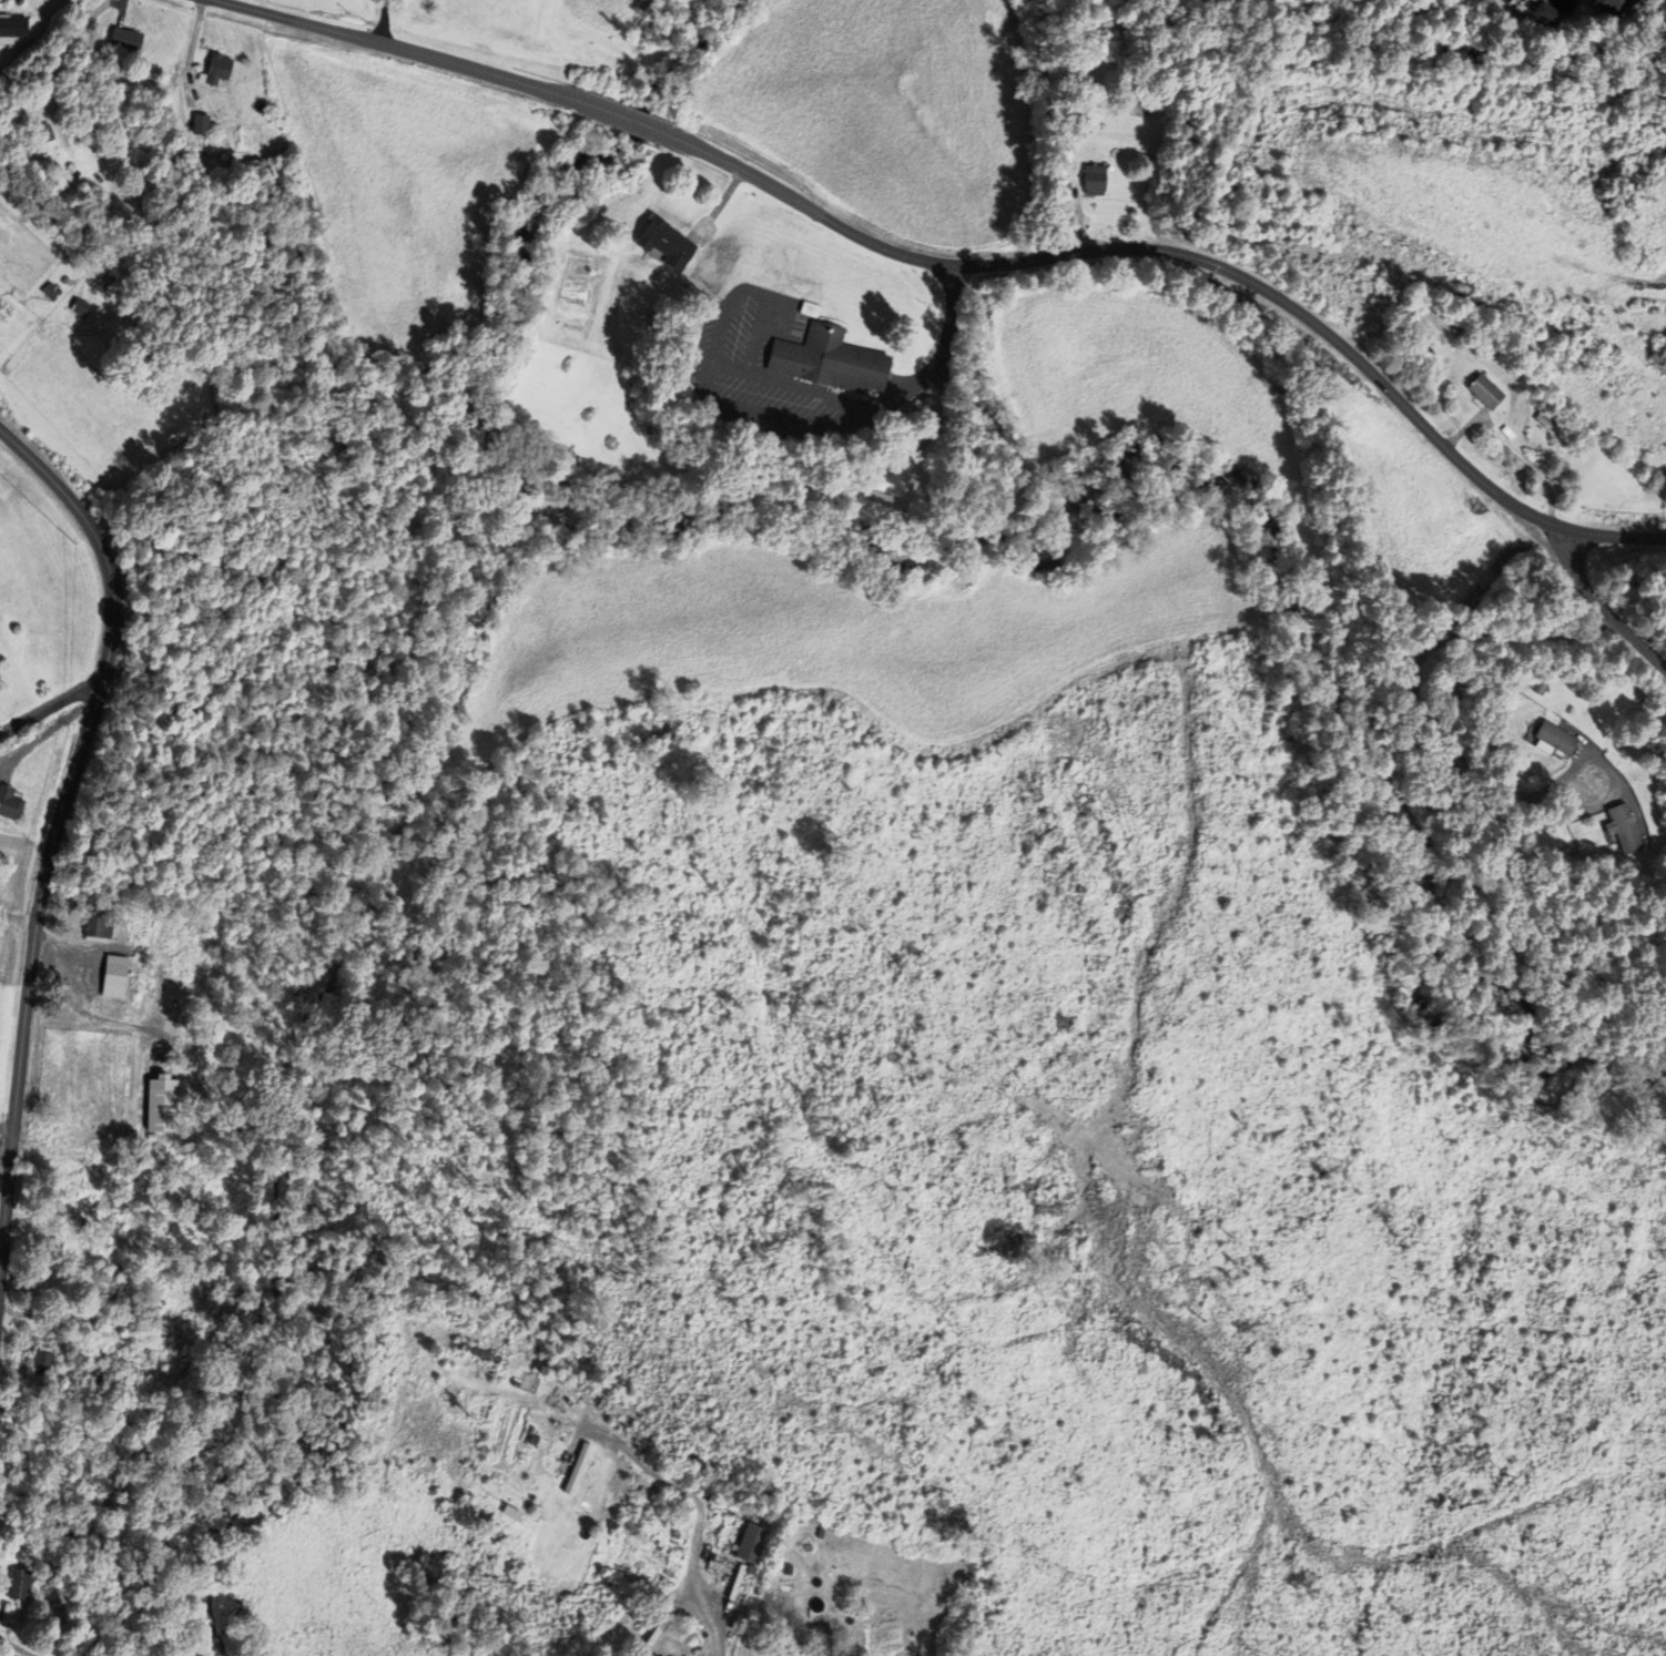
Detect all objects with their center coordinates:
building: (1615, 6)
crop: (607, 11)
building: (1550, 14)
road: (382, 21)
building: (12, 28)
building: (129, 38)
road: (394, 47)
building: (219, 69)
crop: (890, 109)
road: (624, 118)
building: (189, 120)
building: (203, 123)
building: (41, 132)
building: (1095, 179)
crop: (398, 199)
building: (666, 242)
road: (1155, 250)
crop: (1350, 281)
building: (52, 291)
building: (81, 306)
road: (949, 321)
parking lot: (730, 356)
building: (1659, 356)
building: (829, 359)
road: (711, 366)
road: (730, 367)
road: (805, 388)
crop: (1148, 388)
building: (1485, 390)
road: (896, 394)
building: (1543, 420)
building: (1506, 431)
building: (891, 516)
road: (1616, 536)
road: (1601, 609)
building: (1541, 687)
road: (1412, 688)
road: (47, 711)
building: (654, 731)
road: (2, 733)
building: (1554, 740)
building: (11, 801)
road: (57, 822)
building: (1623, 829)
building: (101, 925)
road: (6, 1130)
building: (116, 1282)
building: (476, 1351)
building: (45, 1362)
building: (546, 1383)
building: (135, 1435)
building: (662, 1449)
building: (689, 1459)
building: (576, 1469)
building: (495, 1475)
road: (700, 1518)
building: (750, 1543)
building: (788, 1571)
building: (21, 1585)
building: (11, 1616)
building: (819, 1640)
road: (17, 1647)
building: (850, 1653)
building: (656, 1655)

